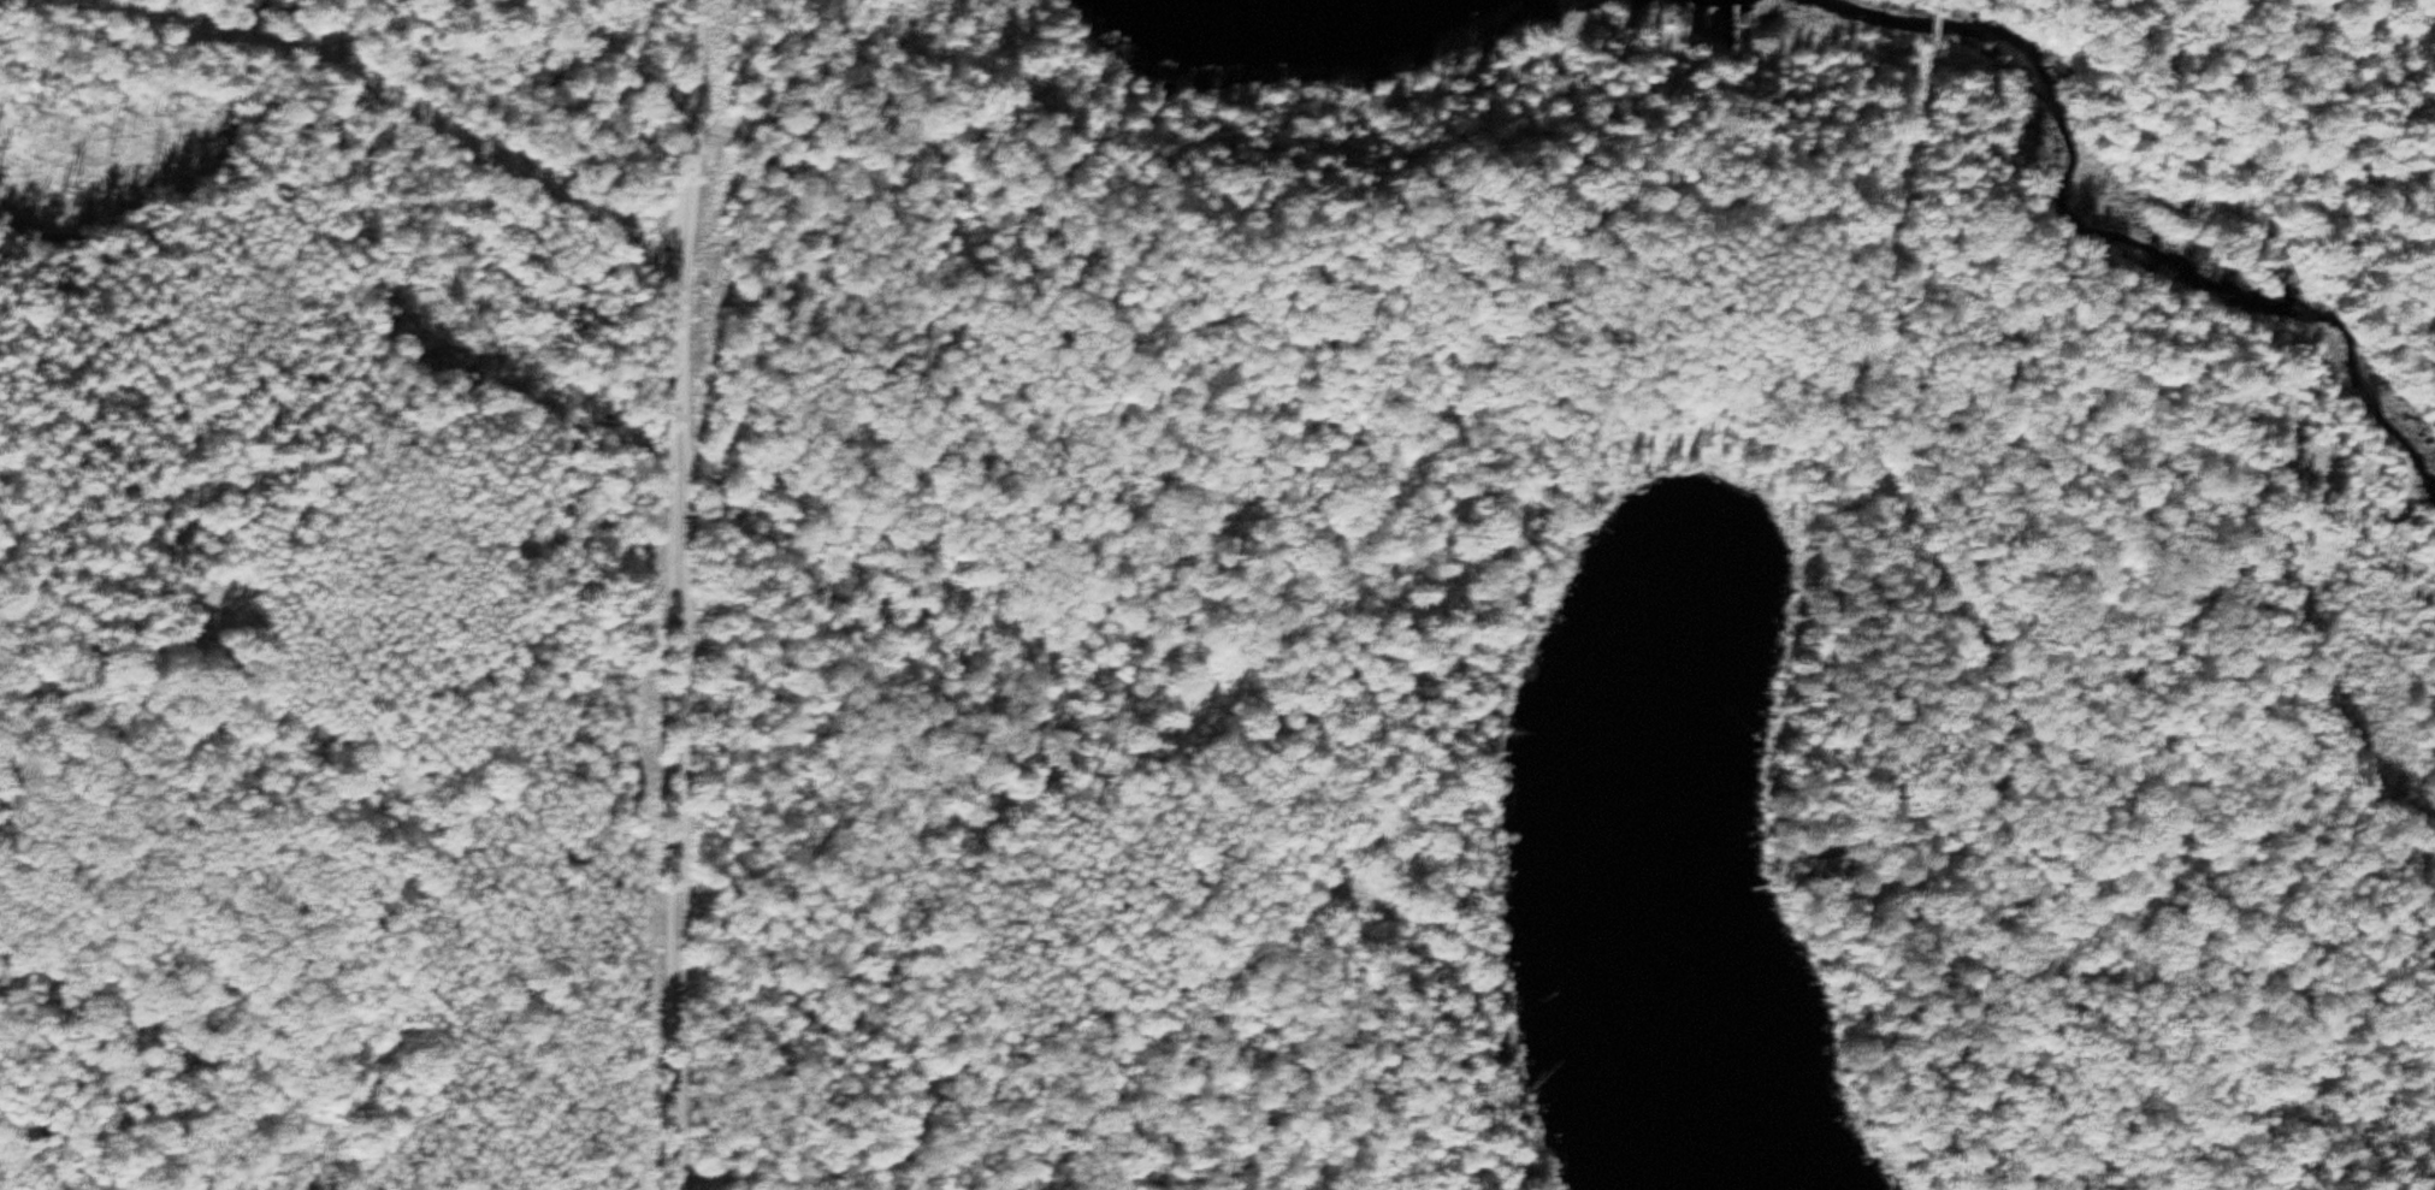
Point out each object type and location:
road: (1940, 1)
road: (1939, 20)
road: (234, 42)
road: (619, 46)
road: (696, 53)
road: (1789, 235)
river: (2122, 238)
road: (1275, 259)
road: (1927, 618)
road: (680, 647)

